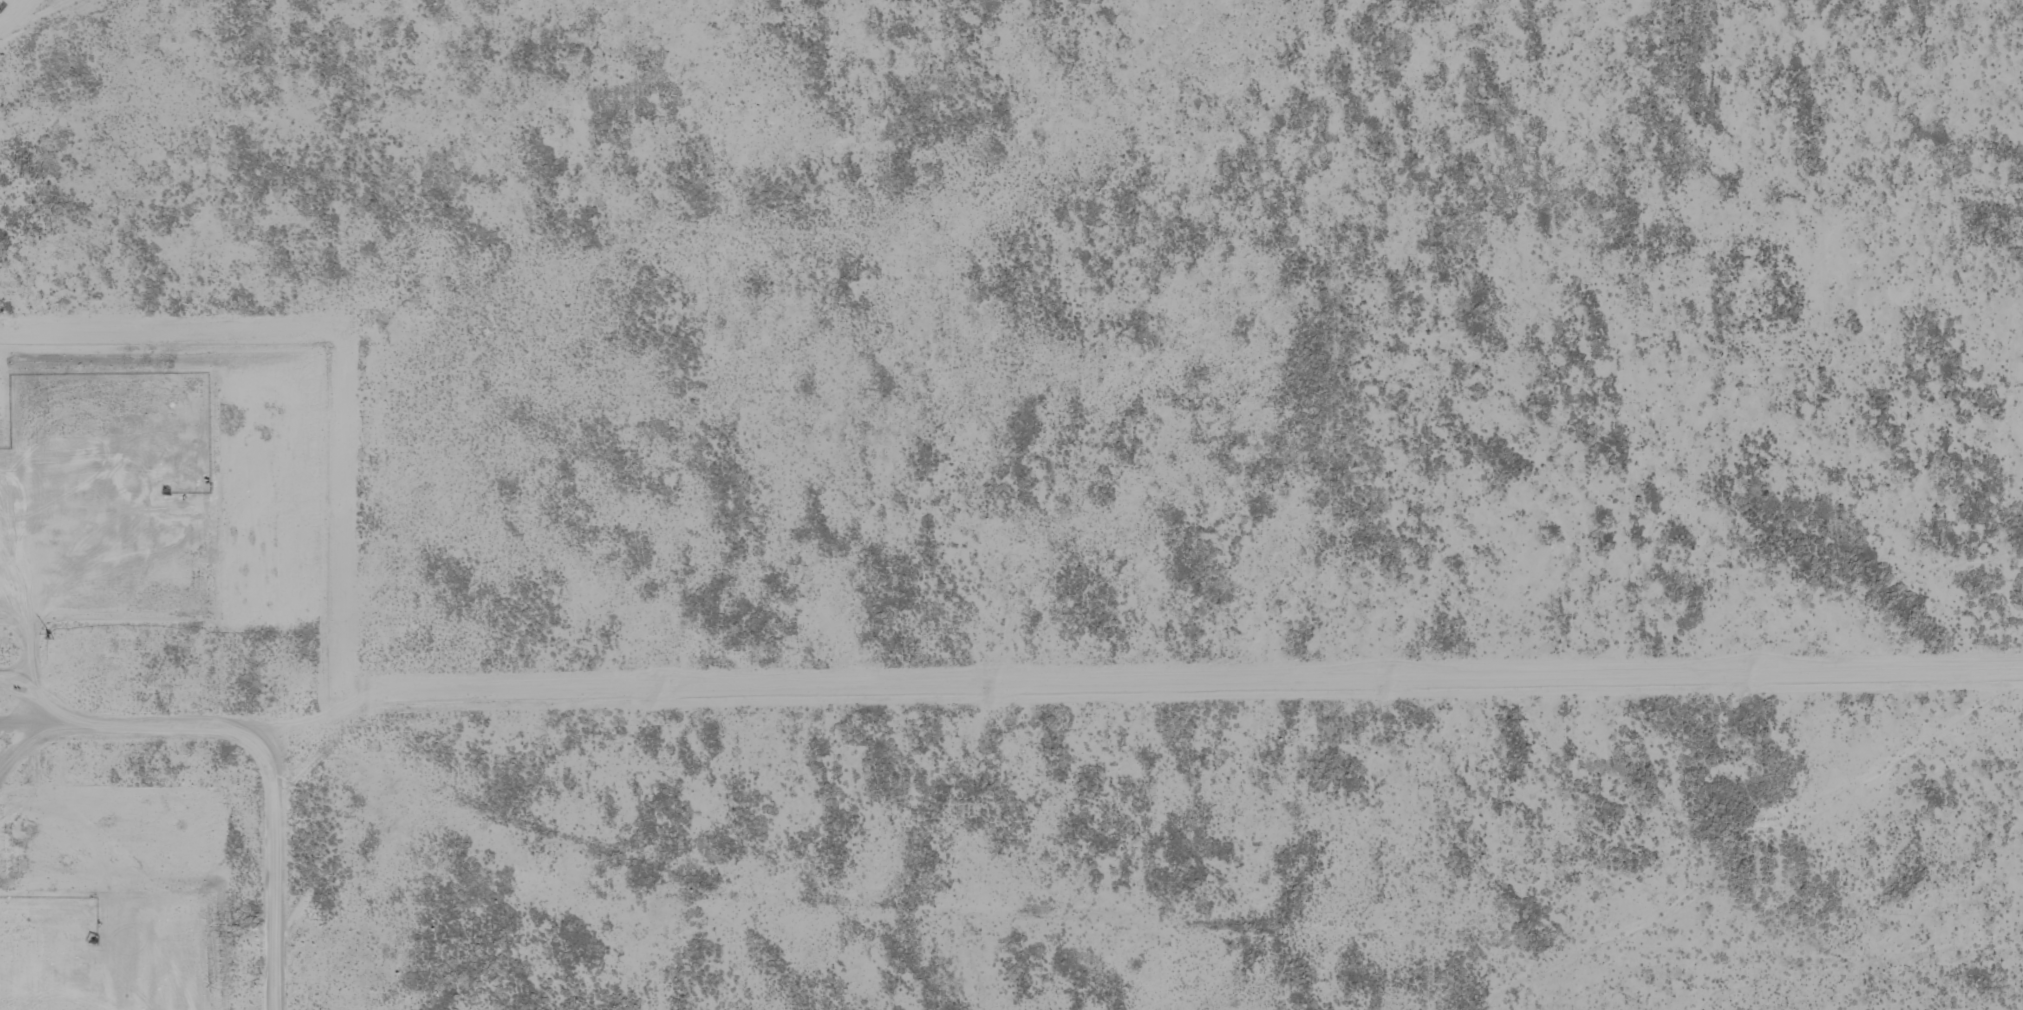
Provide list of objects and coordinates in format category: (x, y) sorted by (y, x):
road: (981, 934)

